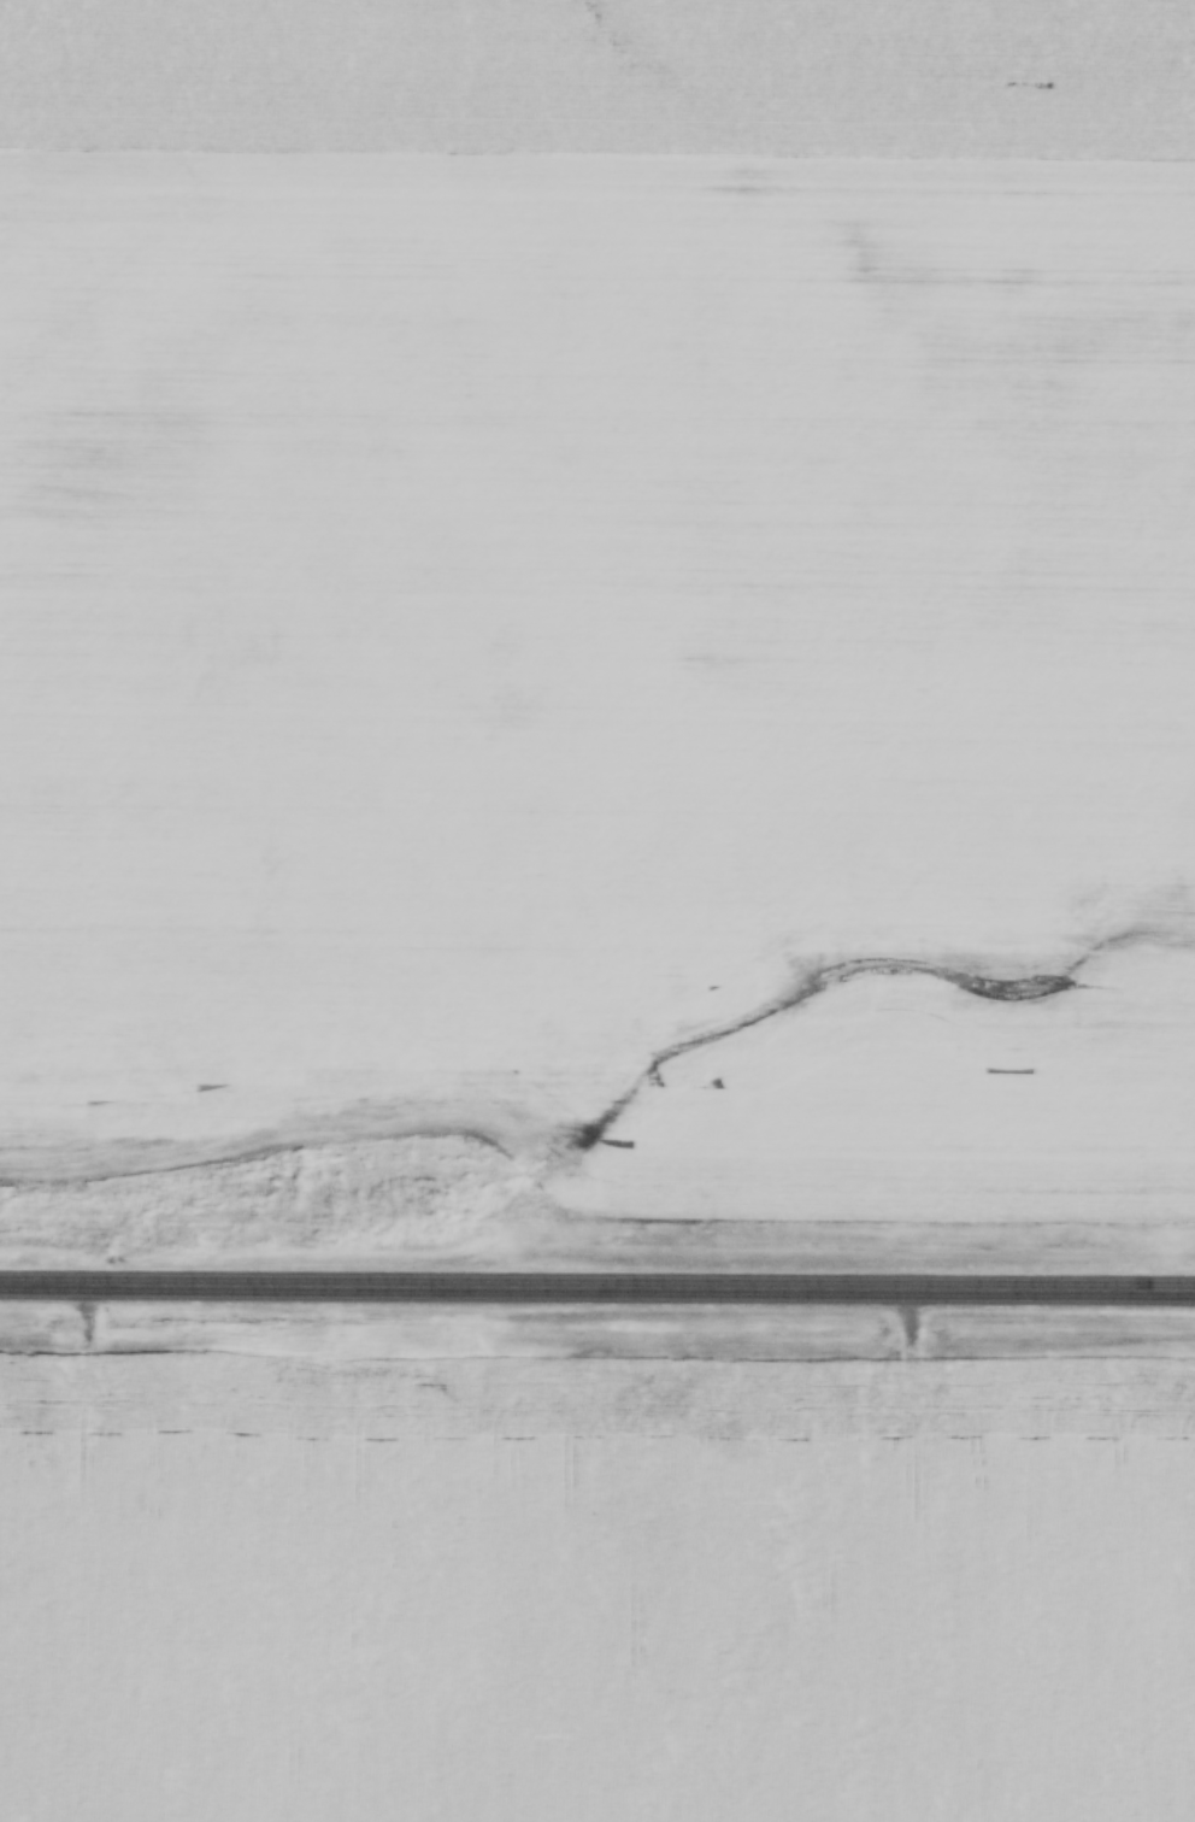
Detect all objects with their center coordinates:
road: (597, 1295)

